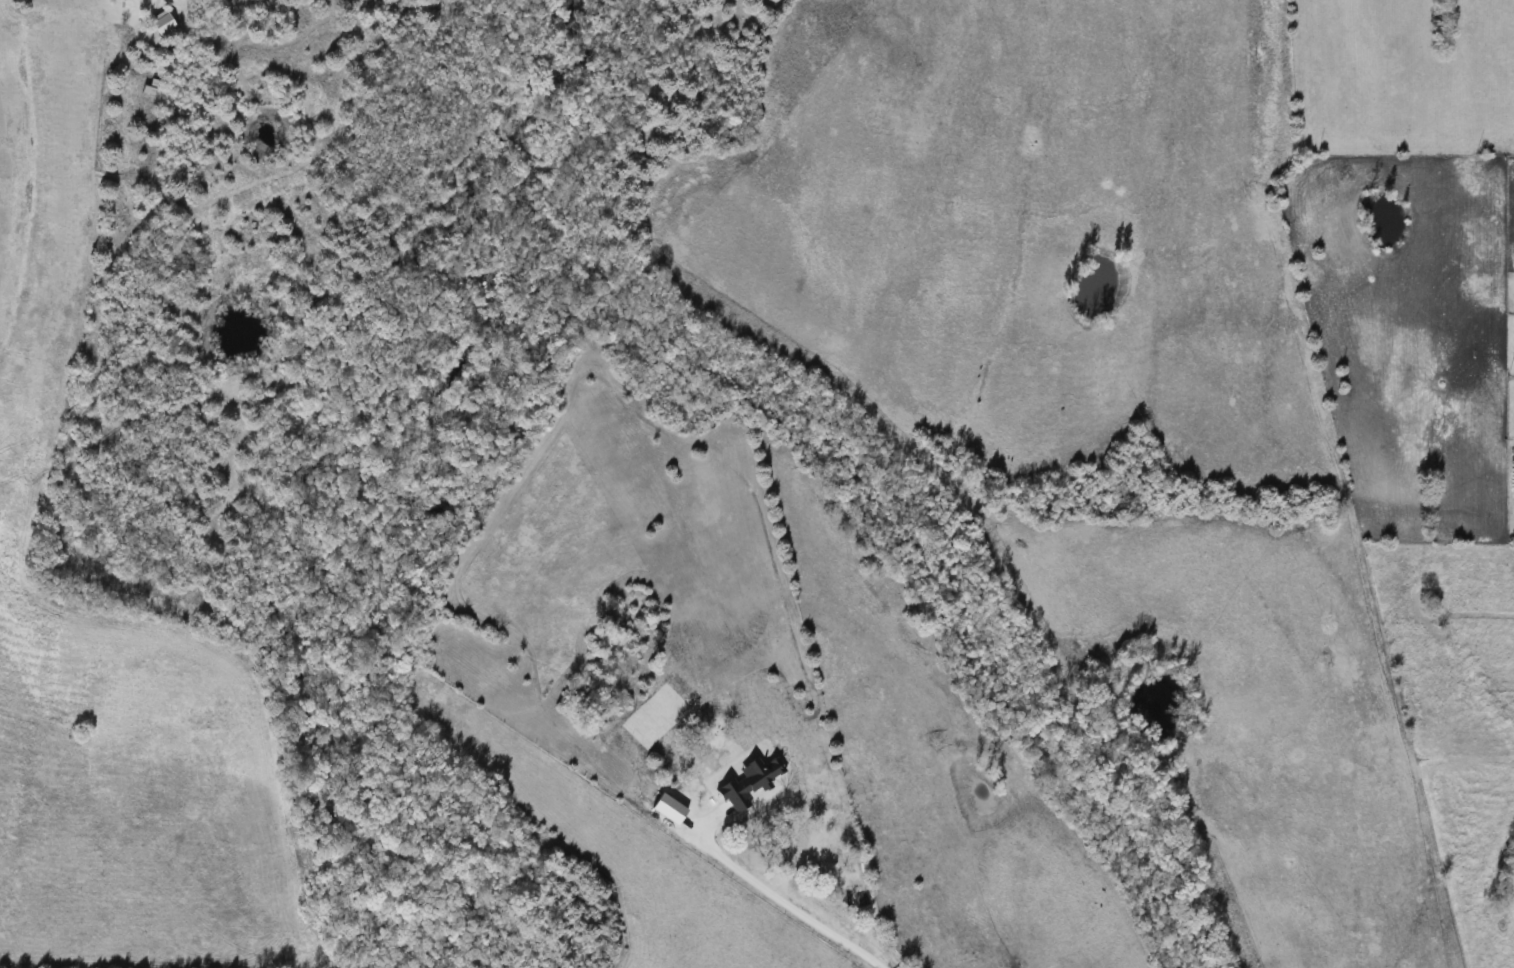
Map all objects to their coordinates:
building: (164, 23)
building: (790, 855)
road: (788, 900)

